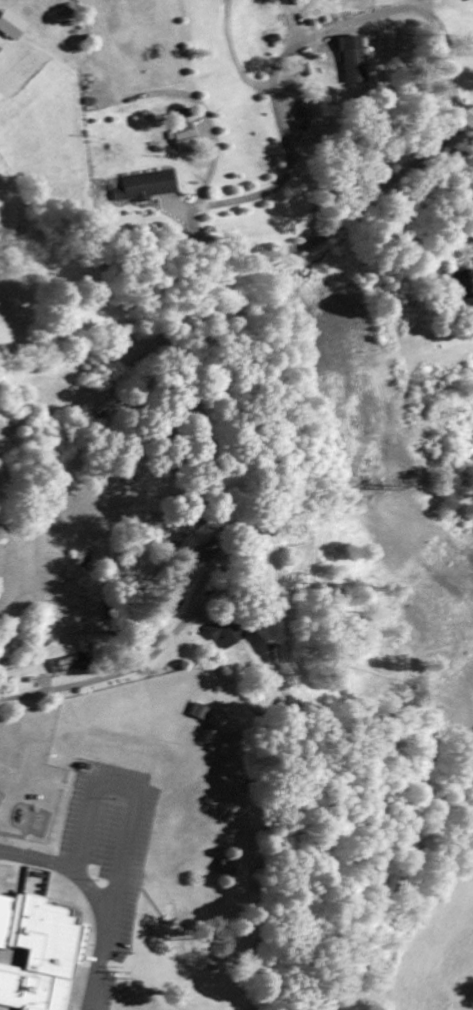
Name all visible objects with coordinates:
building: (12, 27)
building: (2, 45)
building: (353, 62)
building: (183, 137)
building: (149, 187)
building: (464, 287)
building: (209, 552)
building: (227, 635)
building: (68, 667)
road: (99, 679)
building: (228, 867)
road: (129, 868)
building: (37, 950)

